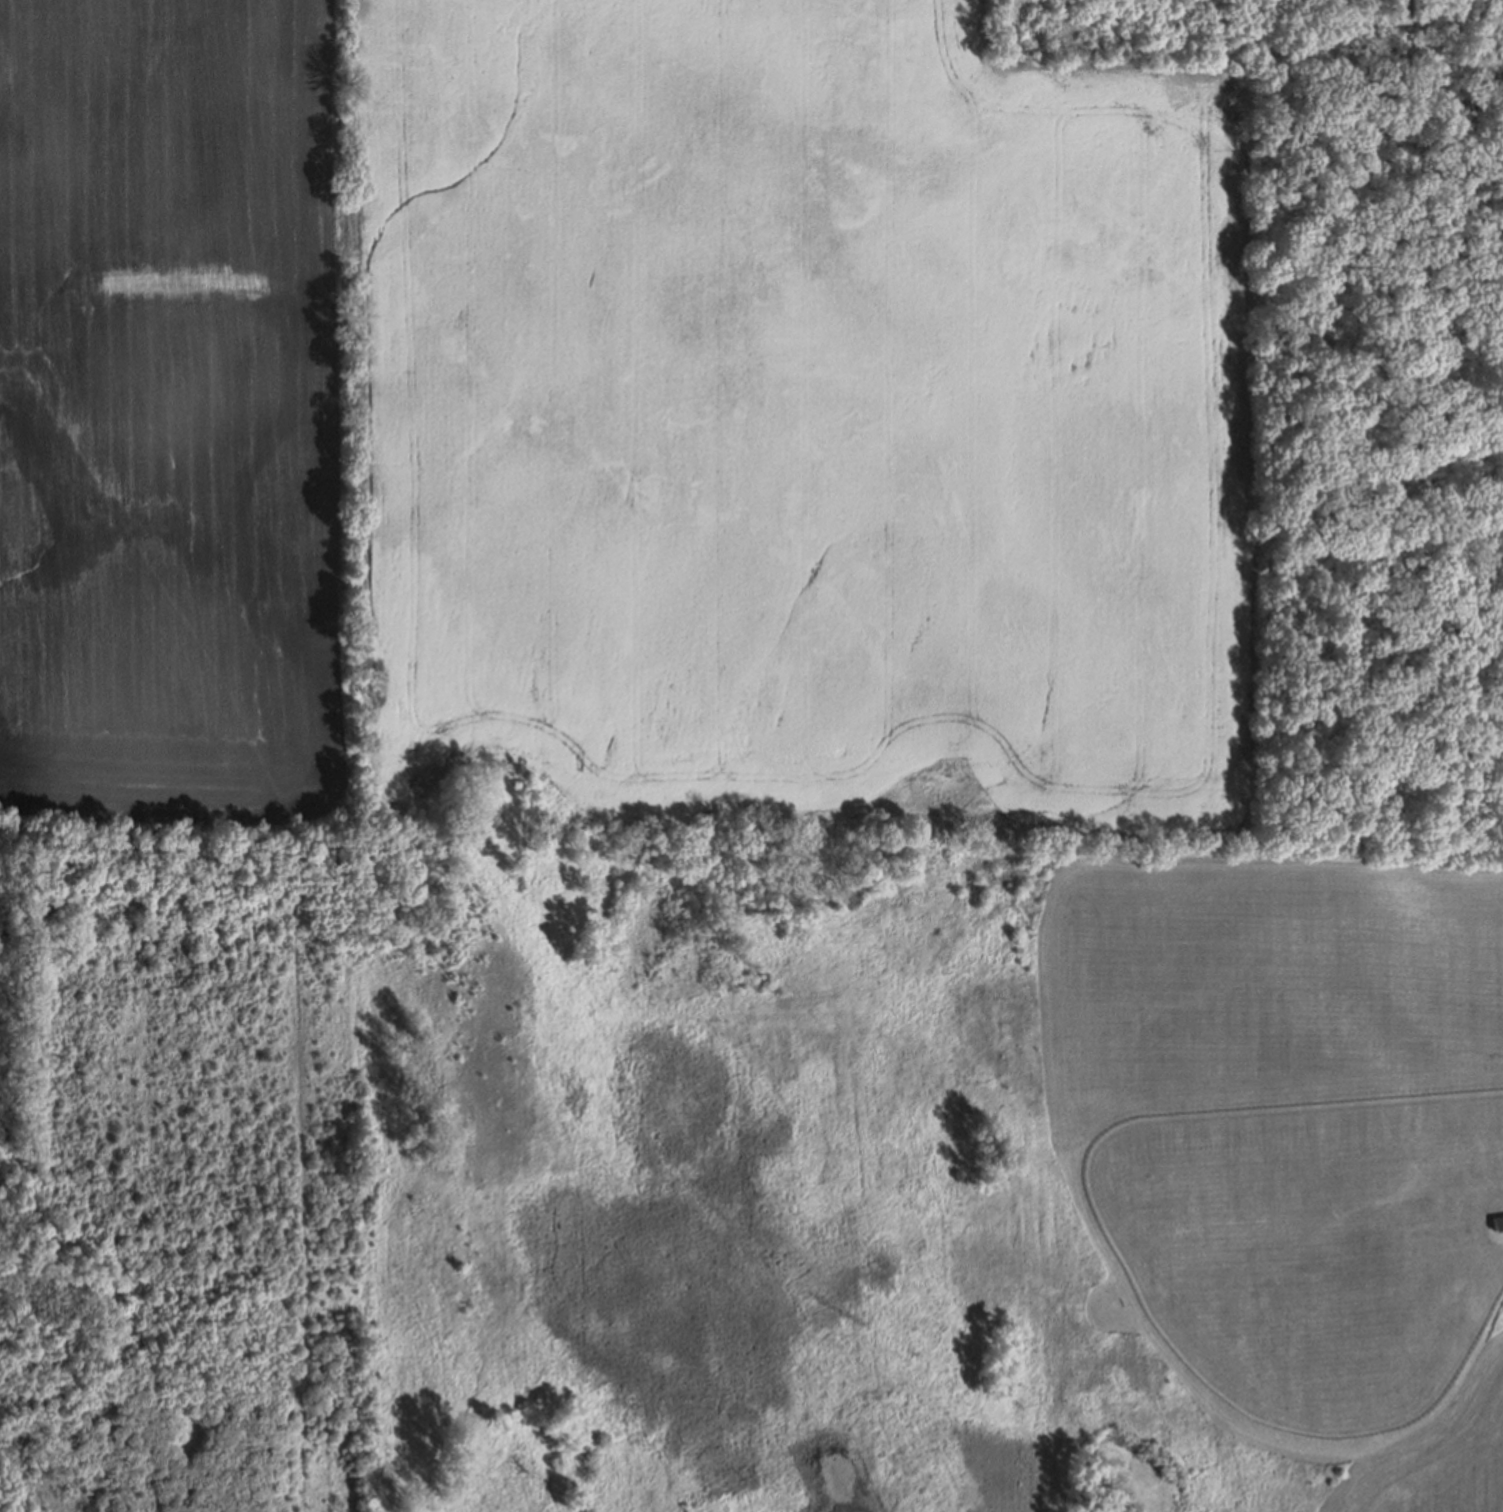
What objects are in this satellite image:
road: (1348, 324)
park: (1377, 429)
building: (1496, 1220)

